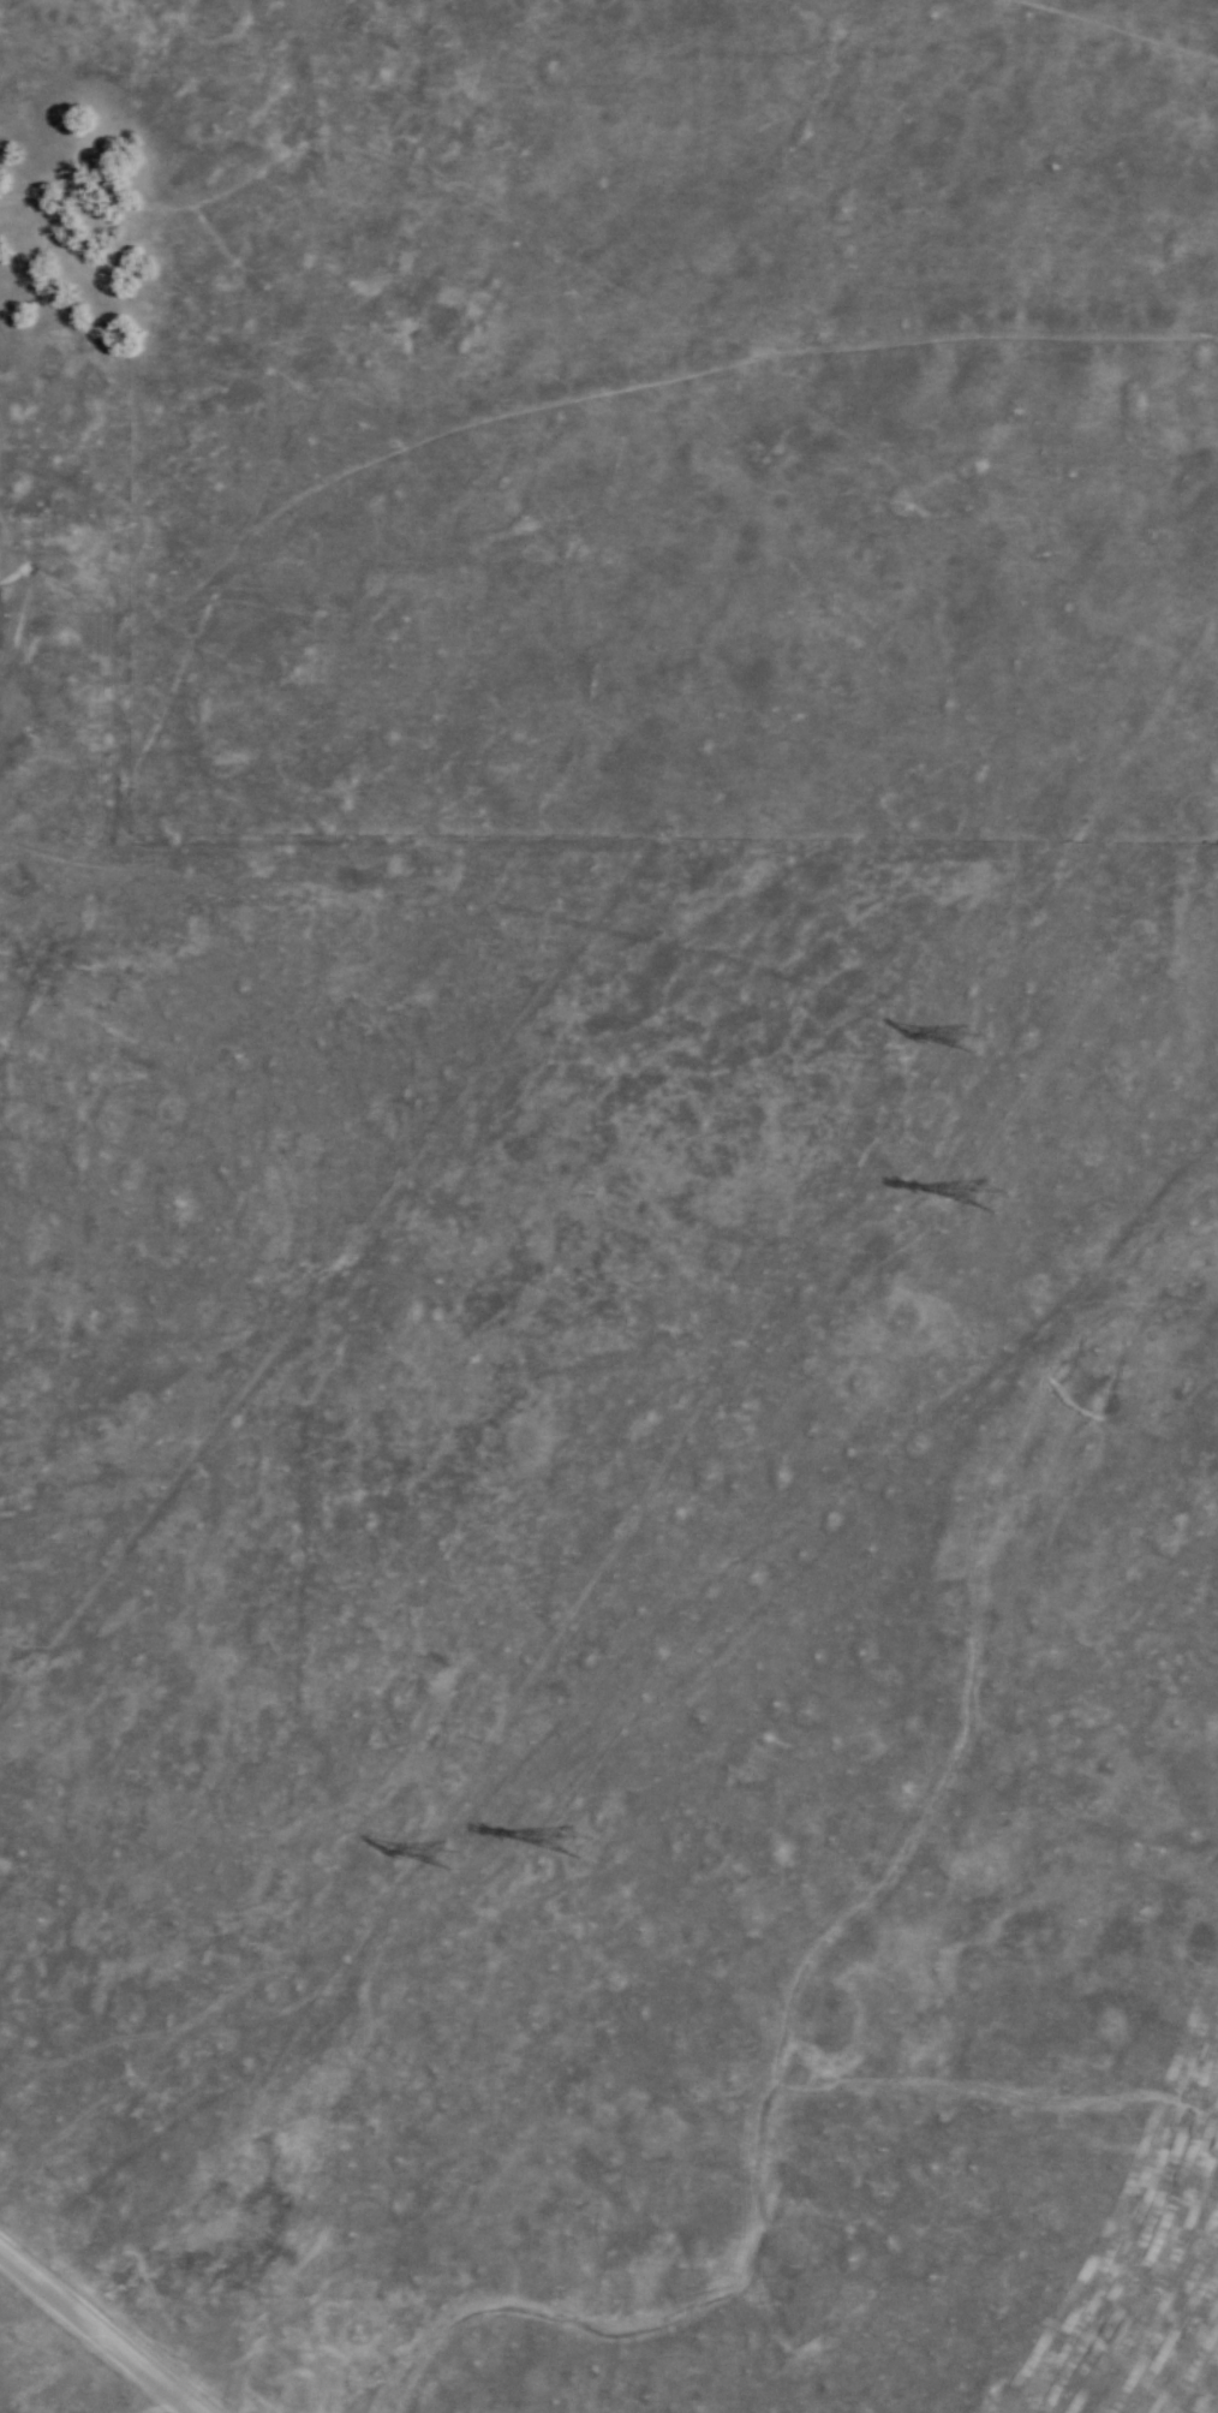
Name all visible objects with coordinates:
power tower: (966, 1049)
power tower: (985, 1210)
power tower: (590, 1849)
power tower: (470, 1859)
road: (95, 2331)

